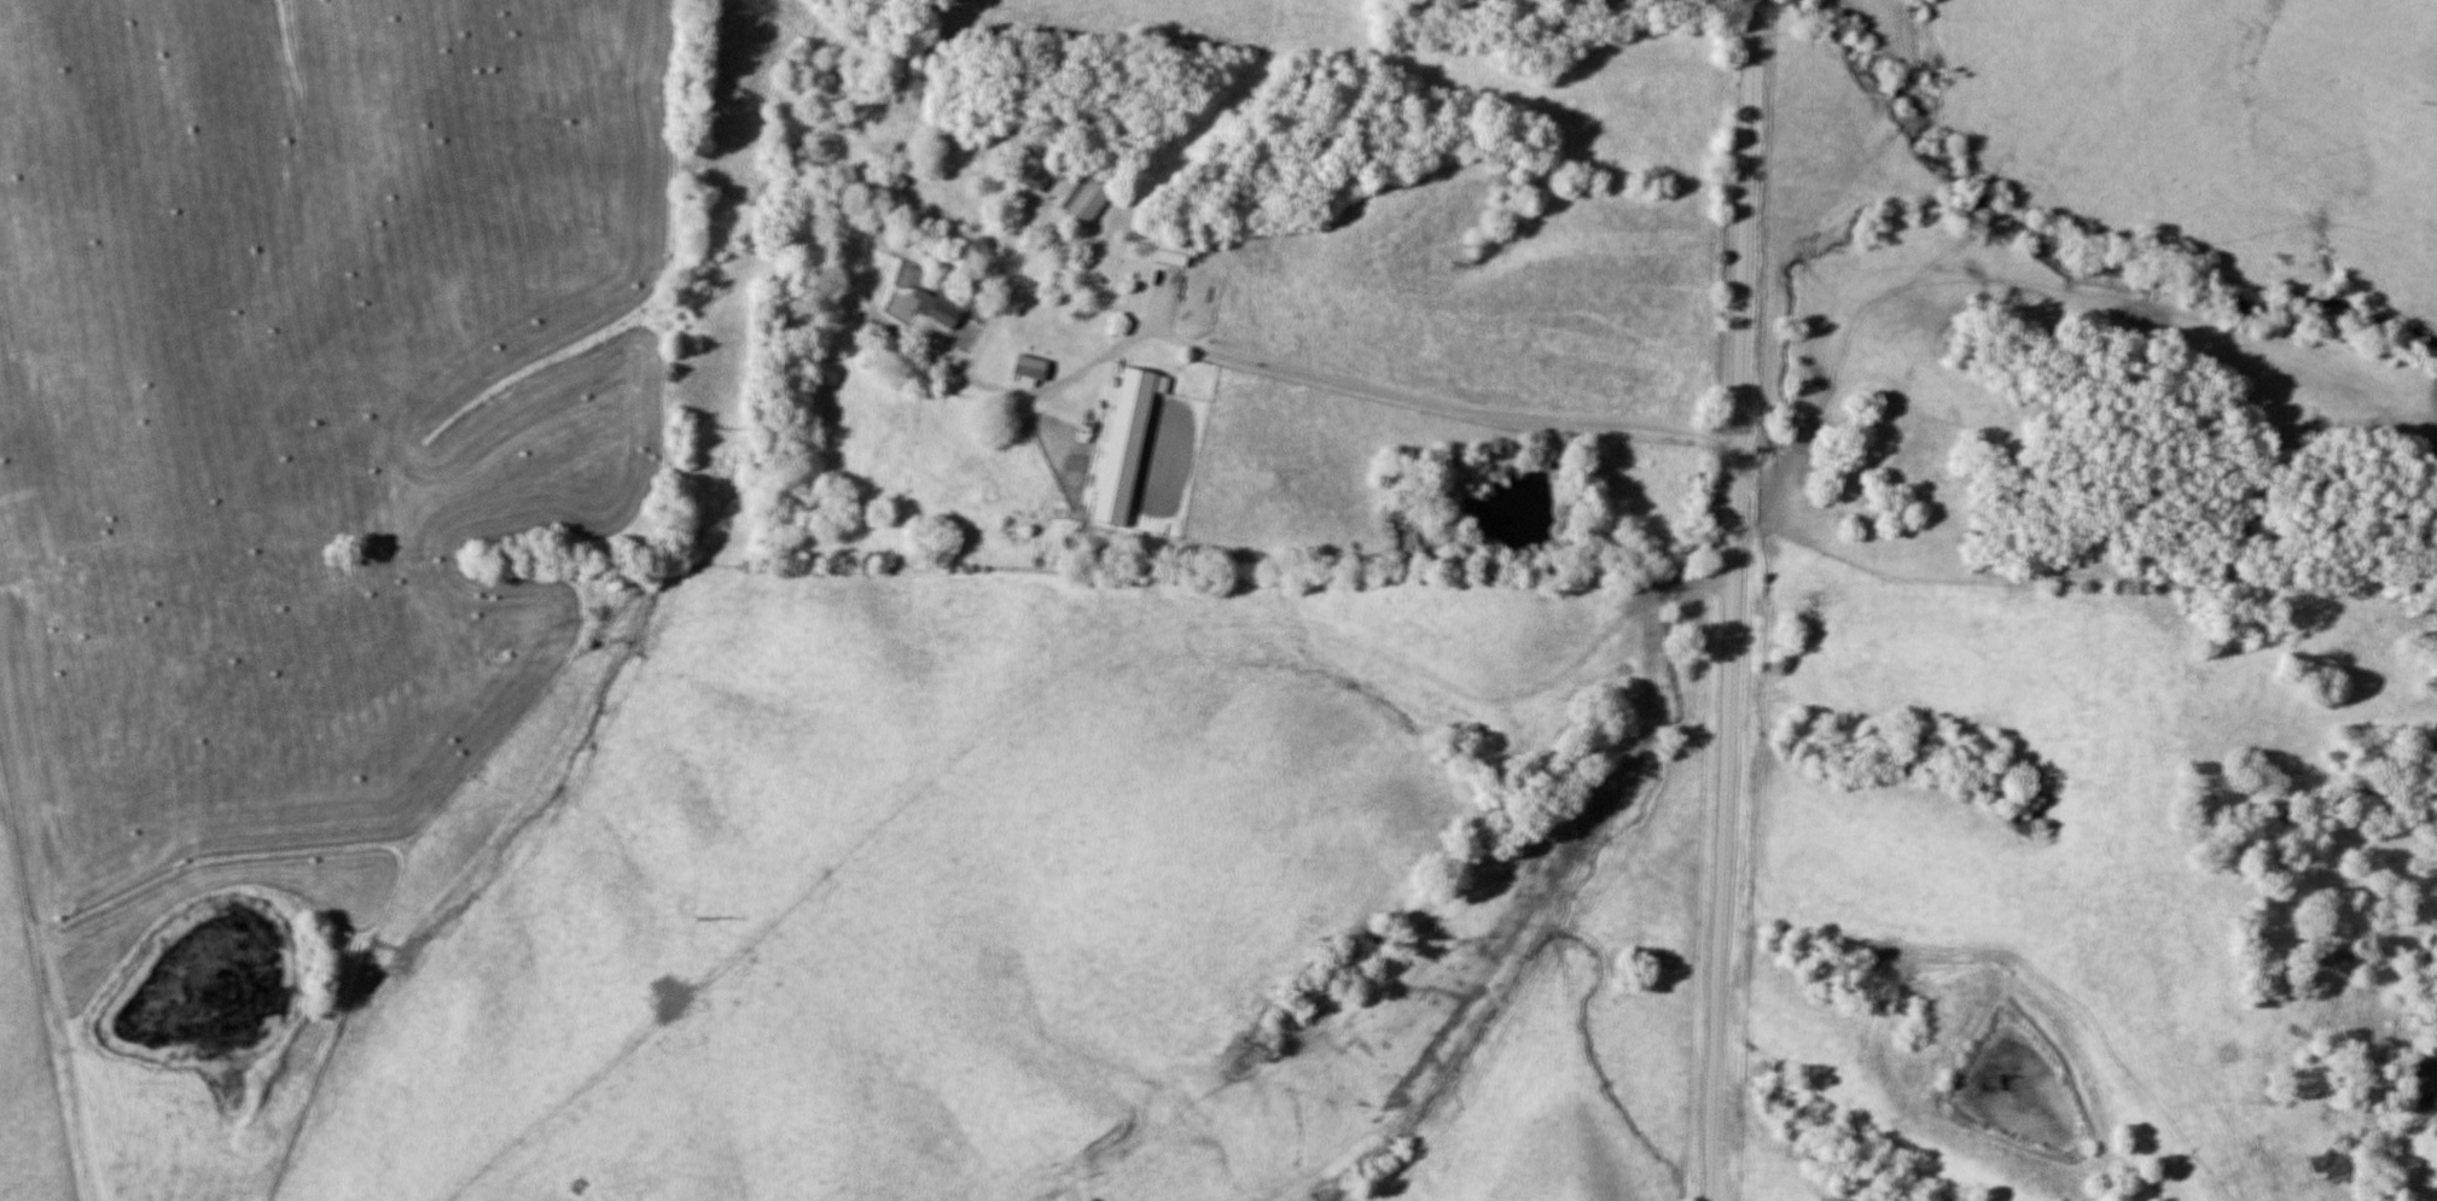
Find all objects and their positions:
building: (1087, 198)
building: (1174, 251)
building: (943, 305)
building: (1030, 371)
road: (1362, 389)
building: (1128, 443)
road: (1735, 600)

